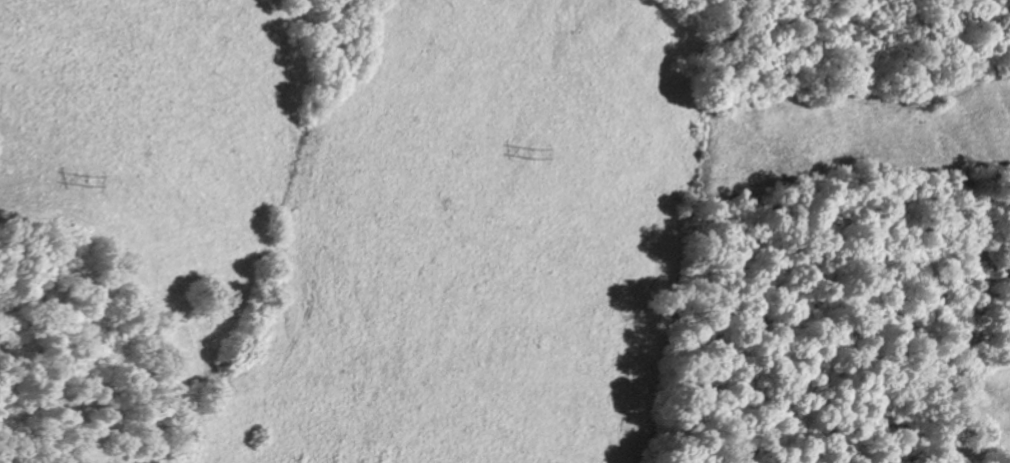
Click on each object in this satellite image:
power tower: (536, 160)
power tower: (88, 189)

